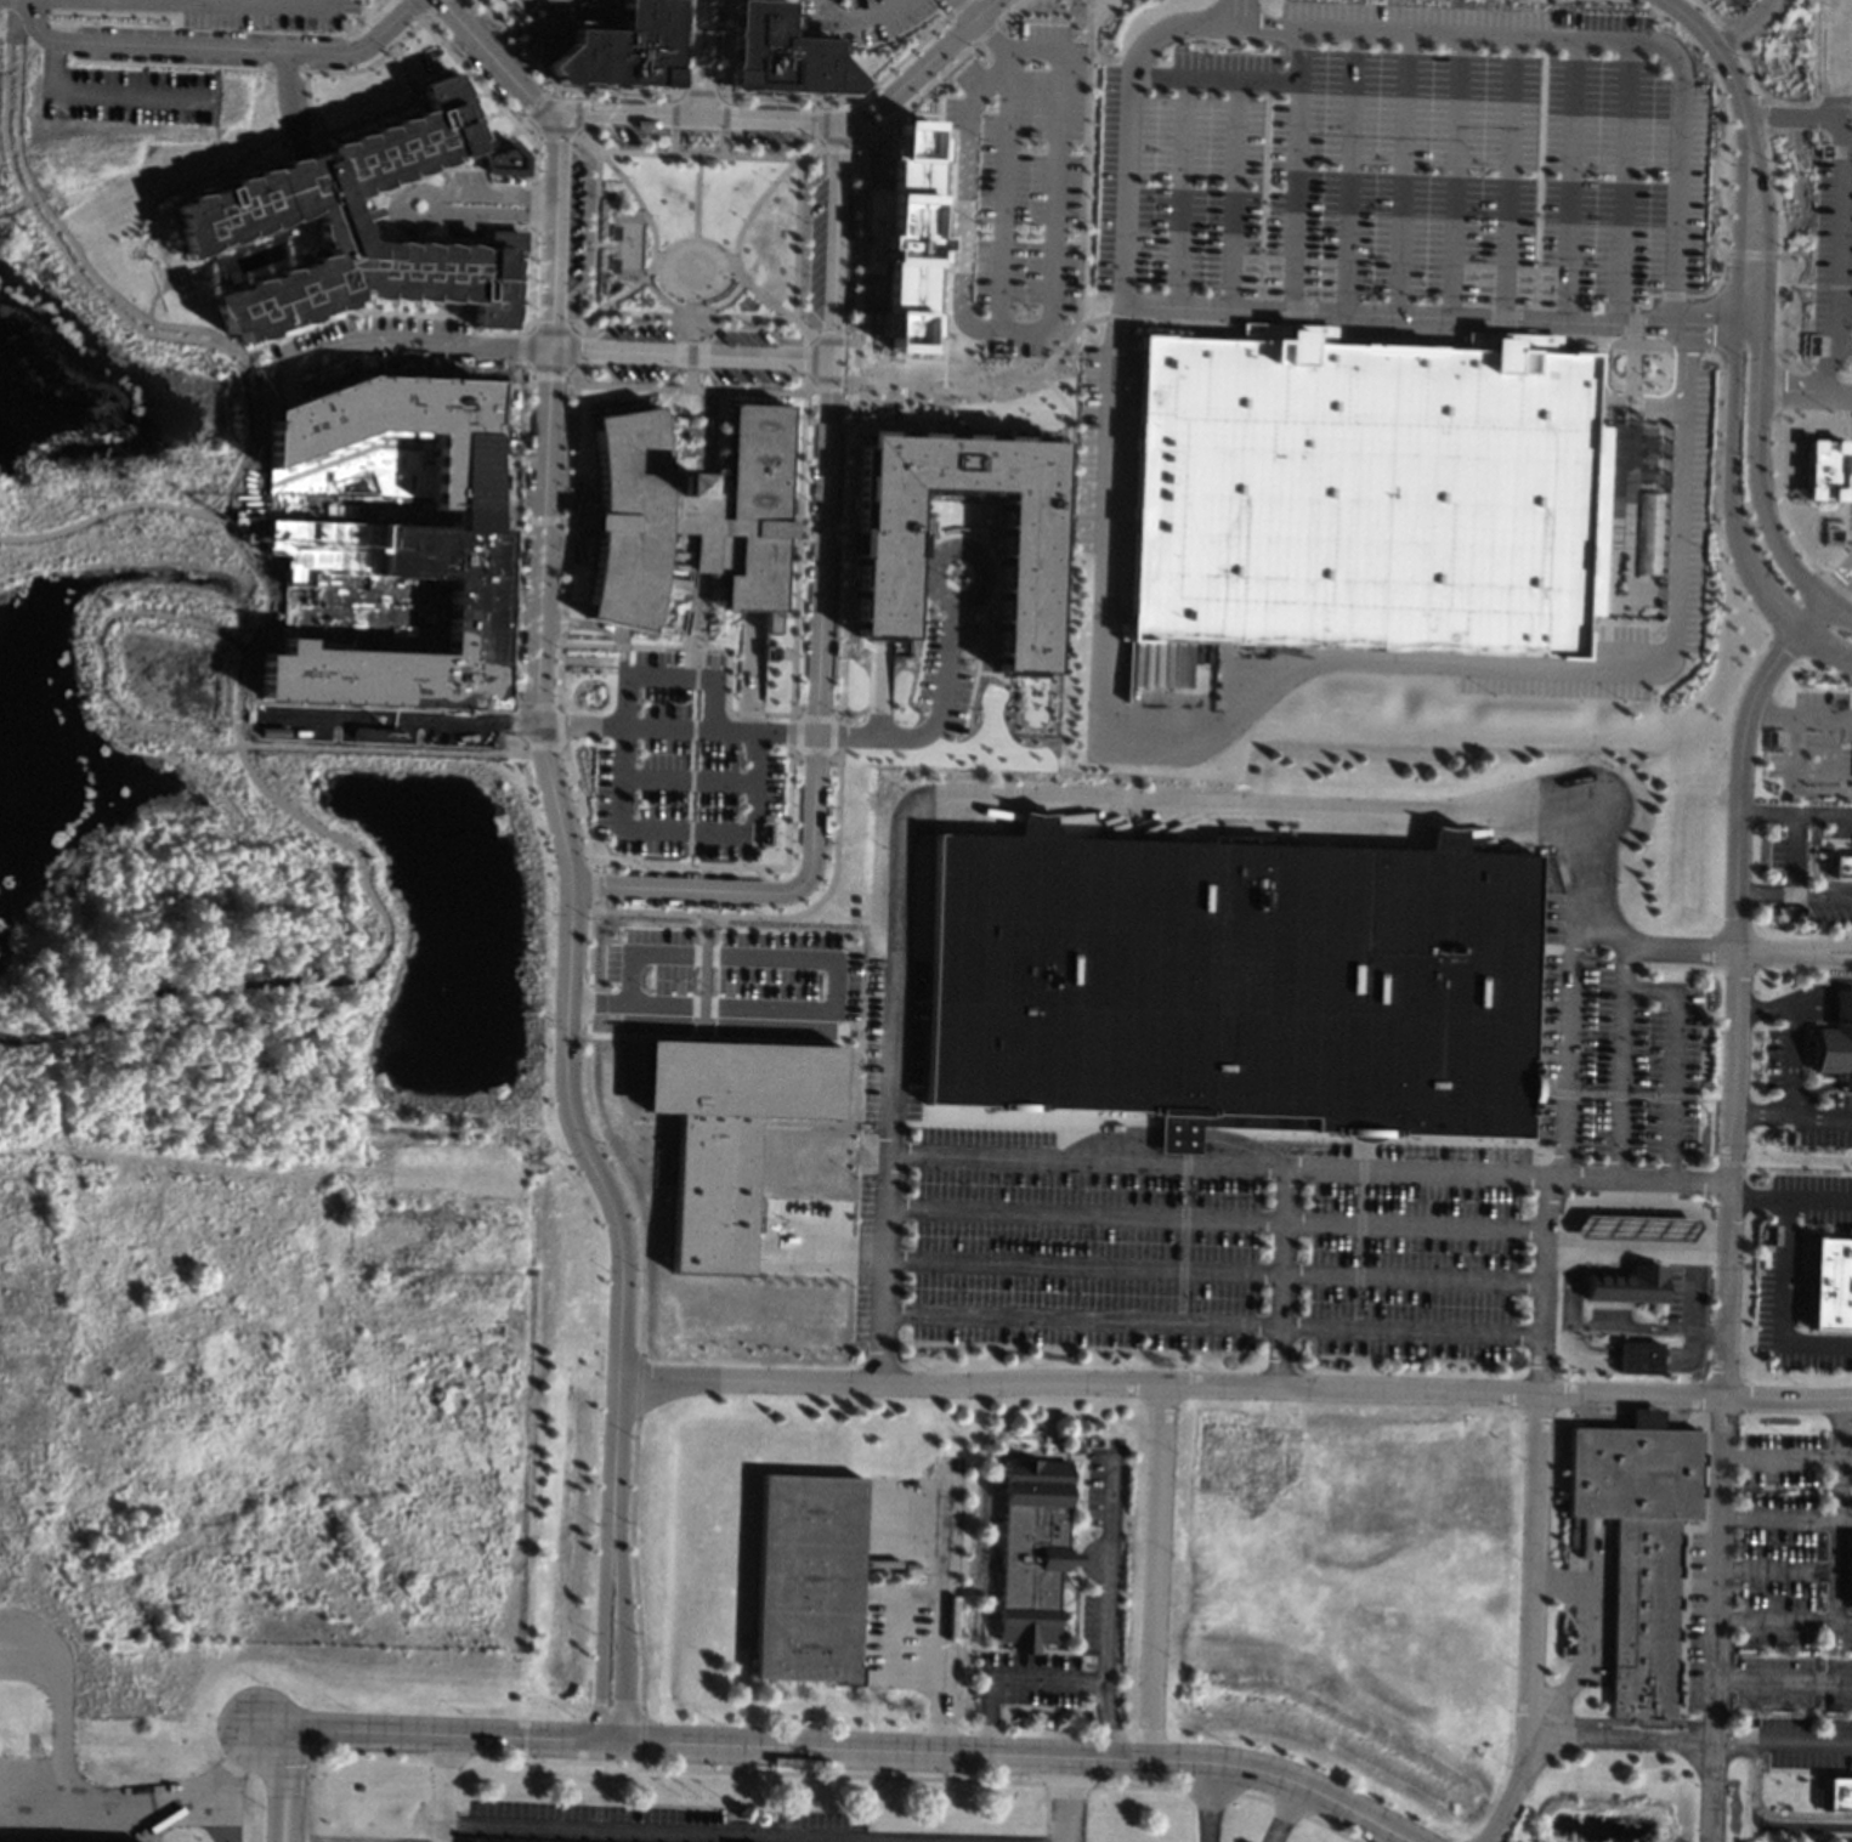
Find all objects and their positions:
road: (182, 0)
road: (202, 0)
road: (237, 2)
road: (10, 5)
road: (957, 6)
parking lot: (568, 8)
road: (1009, 10)
parking lot: (221, 11)
road: (1240, 11)
road: (1709, 11)
road: (424, 13)
road: (854, 16)
parking lot: (860, 16)
road: (1169, 23)
road: (1268, 24)
road: (1744, 24)
road: (975, 25)
parking lot: (204, 32)
road: (985, 32)
road: (1727, 34)
road: (1624, 39)
road: (678, 45)
road: (214, 46)
road: (726, 46)
building: (621, 50)
road: (1716, 50)
road: (1023, 51)
building: (781, 55)
road: (692, 56)
road: (708, 57)
parking lot: (163, 58)
road: (493, 61)
road: (171, 64)
parking lot: (325, 64)
road: (283, 66)
road: (367, 66)
road: (1749, 73)
road: (1213, 79)
road: (559, 87)
road: (554, 91)
road: (678, 91)
road: (698, 91)
road: (107, 92)
road: (576, 92)
parking lot: (124, 95)
road: (488, 95)
road: (725, 97)
road: (849, 98)
road: (823, 101)
road: (305, 102)
road: (287, 103)
road: (854, 103)
road: (539, 107)
road: (672, 114)
road: (723, 115)
road: (866, 115)
road: (1762, 115)
road: (797, 118)
road: (528, 124)
road: (877, 127)
road: (531, 129)
road: (570, 129)
road: (293, 130)
parking lot: (630, 131)
parking lot: (765, 136)
road: (822, 140)
road: (670, 141)
road: (721, 142)
road: (859, 143)
road: (1847, 151)
building: (503, 159)
road: (449, 165)
road: (1292, 166)
parking lot: (1400, 166)
road: (1348, 169)
road: (1400, 171)
road: (1454, 174)
parking lot: (1024, 176)
road: (1506, 176)
parking lot: (459, 177)
road: (448, 178)
road: (522, 178)
road: (1569, 180)
road: (1621, 181)
road: (175, 187)
road: (1840, 187)
road: (407, 188)
road: (1177, 189)
road: (628, 191)
road: (1229, 192)
road: (489, 194)
road: (695, 194)
road: (760, 194)
road: (1001, 198)
road: (17, 203)
road: (529, 205)
road: (961, 205)
road: (989, 208)
road: (491, 211)
road: (1053, 214)
parking lot: (573, 221)
road: (1766, 221)
road: (1738, 222)
road: (58, 226)
building: (352, 226)
parking lot: (460, 227)
road: (942, 228)
road: (957, 228)
road: (594, 229)
road: (980, 229)
road: (999, 231)
building: (608, 232)
park: (693, 232)
road: (1032, 232)
building: (902, 233)
road: (449, 238)
road: (793, 238)
road: (832, 240)
road: (1780, 240)
road: (602, 244)
parking lot: (812, 246)
road: (986, 250)
parking lot: (1833, 251)
road: (1750, 254)
road: (1777, 255)
building: (607, 265)
road: (649, 266)
road: (986, 266)
road: (732, 270)
road: (725, 283)
road: (1716, 283)
road: (1794, 284)
road: (1830, 285)
road: (164, 287)
road: (1670, 295)
road: (608, 299)
road: (1646, 302)
road: (770, 305)
road: (689, 307)
road: (148, 308)
road: (1395, 312)
road: (432, 314)
road: (1116, 316)
road: (140, 323)
road: (689, 323)
road: (1632, 324)
road: (1677, 324)
road: (1709, 325)
road: (358, 327)
road: (1746, 327)
road: (566, 329)
parking lot: (632, 330)
parking lot: (738, 335)
road: (408, 341)
road: (848, 341)
parking lot: (376, 348)
road: (687, 352)
road: (686, 355)
road: (853, 356)
road: (271, 357)
road: (809, 358)
road: (1823, 362)
road: (1631, 364)
parking lot: (636, 370)
parking lot: (743, 375)
road: (686, 378)
road: (846, 380)
road: (288, 384)
road: (1773, 384)
road: (804, 385)
road: (992, 392)
road: (1805, 395)
road: (1604, 397)
road: (1629, 402)
road: (704, 403)
road: (1652, 418)
building: (404, 426)
road: (1066, 442)
parking lot: (1093, 448)
road: (703, 453)
road: (239, 466)
building: (1824, 469)
road: (1678, 486)
road: (568, 489)
road: (1756, 492)
building: (1364, 493)
road: (579, 495)
road: (111, 509)
parking lot: (1697, 510)
building: (685, 516)
road: (519, 518)
road: (540, 518)
road: (1782, 518)
road: (561, 520)
road: (570, 520)
road: (1731, 520)
road: (584, 521)
road: (802, 531)
road: (821, 531)
road: (839, 532)
road: (512, 535)
building: (880, 543)
road: (578, 545)
road: (793, 588)
road: (1837, 589)
road: (697, 600)
road: (692, 606)
building: (471, 612)
road: (1811, 618)
road: (559, 620)
road: (685, 622)
road: (596, 627)
road: (683, 640)
road: (751, 656)
road: (669, 662)
road: (710, 663)
road: (556, 668)
parking lot: (945, 668)
road: (879, 674)
road: (691, 678)
parking lot: (1550, 686)
road: (623, 702)
road: (938, 712)
road: (1771, 713)
road: (748, 715)
road: (792, 715)
road: (1822, 718)
road: (1098, 719)
road: (395, 720)
road: (877, 724)
road: (577, 726)
road: (689, 727)
road: (783, 732)
road: (811, 737)
parking lot: (1816, 737)
road: (187, 738)
road: (557, 746)
road: (690, 747)
road: (795, 748)
parking lot: (680, 761)
park: (216, 769)
road: (1808, 771)
road: (685, 780)
road: (1813, 790)
road: (1031, 805)
road: (1766, 812)
road: (1823, 815)
road: (685, 828)
road: (559, 831)
road: (1794, 854)
road: (687, 863)
road: (590, 865)
road: (1814, 865)
building: (1842, 866)
road: (591, 885)
road: (1765, 894)
road: (1823, 895)
road: (591, 905)
road: (746, 916)
road: (701, 922)
road: (1716, 946)
road: (1829, 946)
road: (1828, 958)
road: (1624, 967)
road: (339, 976)
parking lot: (731, 980)
building: (1230, 980)
road: (829, 987)
road: (1816, 987)
road: (698, 988)
road: (160, 990)
road: (675, 992)
road: (725, 993)
road: (585, 1002)
road: (1763, 1009)
road: (1823, 1010)
road: (1568, 1026)
road: (16, 1038)
road: (725, 1038)
building: (1835, 1042)
road: (833, 1043)
road: (833, 1047)
parking lot: (1778, 1059)
road: (1670, 1061)
road: (1792, 1062)
road: (1620, 1084)
road: (1709, 1113)
road: (1790, 1116)
parking lot: (1822, 1117)
building: (724, 1132)
road: (1308, 1167)
road: (624, 1184)
parking lot: (1814, 1195)
road: (1758, 1200)
parking lot: (1246, 1201)
road: (1820, 1202)
parking lot: (808, 1207)
road: (1216, 1218)
building: (1632, 1226)
road: (1727, 1229)
road: (791, 1242)
road: (1635, 1254)
road: (845, 1257)
road: (778, 1268)
road: (1213, 1270)
road: (1279, 1275)
building: (1828, 1281)
road: (1541, 1283)
building: (1627, 1283)
road: (1571, 1288)
road: (1690, 1291)
road: (1785, 1305)
parking lot: (1792, 1320)
road: (1212, 1324)
road: (1630, 1325)
road: (1707, 1328)
road: (1581, 1353)
road: (1684, 1354)
building: (1637, 1356)
road: (1637, 1358)
road: (1234, 1382)
road: (636, 1384)
road: (1627, 1417)
building: (1078, 1445)
road: (1786, 1457)
road: (1839, 1511)
road: (1785, 1518)
building: (1639, 1546)
building: (1030, 1551)
road: (633, 1562)
road: (1108, 1566)
road: (1778, 1569)
road: (1152, 1574)
building: (1851, 1576)
building: (808, 1579)
parking lot: (1774, 1608)
road: (944, 1621)
road: (1784, 1622)
road: (1531, 1623)
road: (604, 1644)
road: (623, 1644)
road: (1584, 1648)
road: (1052, 1679)
road: (1784, 1679)
road: (274, 1730)
road: (640, 1734)
road: (1690, 1739)
road: (855, 1755)
road: (838, 1774)
road: (1067, 1783)
road: (1137, 1785)
road: (288, 1790)
road: (444, 1790)
road: (1211, 1790)
building: (1835, 1793)
road: (84, 1797)
road: (1257, 1797)
road: (1060, 1803)
road: (1205, 1806)
road: (225, 1807)
road: (1287, 1808)
road: (1282, 1814)
road: (1769, 1815)
road: (1329, 1829)
road: (645, 1831)

